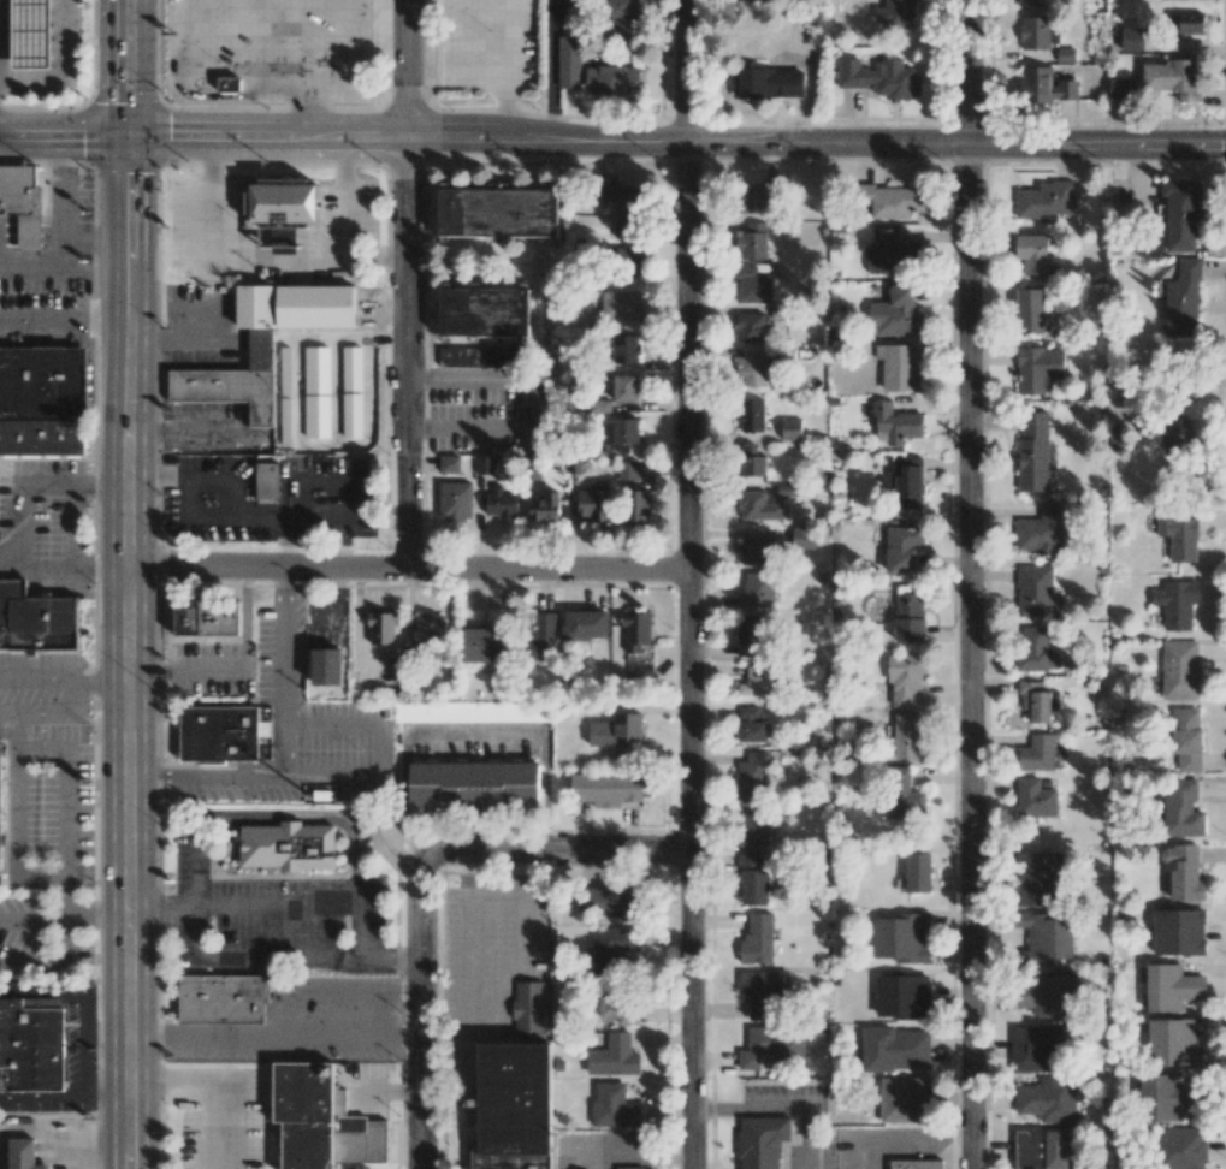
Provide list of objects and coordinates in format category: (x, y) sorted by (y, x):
building: (752, 1)
building: (1031, 4)
building: (896, 13)
building: (622, 14)
building: (1185, 22)
road: (189, 29)
building: (1035, 31)
building: (25, 36)
road: (244, 36)
road: (292, 37)
building: (1132, 38)
parking lot: (488, 44)
building: (1065, 54)
road: (342, 60)
building: (569, 63)
road: (61, 69)
road: (239, 71)
building: (879, 77)
building: (1169, 78)
building: (612, 79)
road: (486, 81)
building: (229, 83)
building: (764, 84)
building: (1044, 85)
building: (1121, 89)
road: (223, 96)
road: (306, 107)
road: (509, 112)
traffic signals: (126, 143)
road: (270, 143)
road: (882, 144)
building: (756, 197)
building: (1046, 200)
road: (347, 201)
building: (888, 201)
building: (288, 202)
building: (22, 206)
road: (63, 206)
building: (622, 207)
building: (498, 212)
building: (1180, 214)
building: (752, 242)
building: (1032, 253)
building: (894, 254)
road: (248, 259)
building: (626, 259)
road: (63, 269)
building: (752, 283)
road: (403, 285)
building: (1183, 301)
building: (620, 304)
building: (1030, 310)
building: (484, 313)
building: (895, 314)
building: (591, 320)
road: (64, 321)
building: (751, 327)
road: (385, 338)
building: (623, 348)
building: (479, 356)
building: (899, 367)
building: (351, 368)
building: (1038, 368)
building: (316, 369)
building: (751, 370)
building: (43, 382)
building: (626, 387)
building: (226, 388)
road: (337, 391)
road: (538, 402)
building: (600, 407)
parking lot: (485, 409)
building: (351, 415)
building: (751, 415)
building: (316, 416)
building: (895, 423)
building: (790, 428)
building: (622, 435)
building: (41, 438)
building: (1118, 438)
building: (1177, 438)
road: (298, 443)
building: (1032, 451)
building: (751, 462)
building: (450, 464)
building: (485, 464)
building: (627, 470)
building: (266, 480)
building: (907, 482)
road: (100, 483)
building: (455, 500)
building: (593, 502)
building: (502, 503)
building: (636, 505)
building: (544, 506)
building: (758, 506)
road: (254, 520)
road: (72, 524)
road: (19, 526)
building: (1042, 532)
building: (1178, 535)
building: (802, 538)
building: (902, 548)
building: (756, 551)
road: (10, 565)
road: (101, 566)
road: (408, 570)
road: (283, 582)
road: (129, 583)
road: (970, 583)
road: (688, 584)
building: (757, 589)
building: (1036, 592)
road: (340, 593)
building: (1177, 604)
road: (325, 617)
building: (908, 617)
building: (207, 618)
road: (244, 618)
building: (39, 621)
building: (585, 624)
road: (359, 625)
building: (381, 628)
building: (427, 628)
building: (636, 630)
building: (748, 635)
building: (541, 636)
building: (482, 645)
building: (1035, 649)
building: (59, 661)
building: (328, 667)
building: (639, 669)
building: (1179, 669)
road: (186, 670)
building: (904, 678)
road: (32, 681)
building: (758, 681)
road: (81, 682)
building: (1037, 701)
building: (472, 711)
road: (28, 713)
building: (751, 725)
building: (615, 730)
building: (219, 732)
road: (473, 735)
building: (907, 737)
building: (1186, 740)
road: (285, 741)
road: (379, 750)
building: (1036, 753)
road: (152, 776)
building: (751, 777)
road: (65, 785)
building: (606, 788)
building: (469, 793)
road: (546, 793)
building: (904, 796)
building: (1035, 799)
building: (1181, 809)
road: (308, 817)
building: (2, 818)
building: (754, 829)
road: (13, 836)
building: (282, 847)
road: (557, 849)
road: (197, 871)
building: (918, 872)
building: (1181, 872)
building: (1037, 878)
building: (753, 879)
building: (609, 898)
road: (306, 906)
road: (164, 907)
road: (97, 908)
road: (32, 920)
building: (1178, 932)
road: (66, 936)
building: (902, 937)
building: (1044, 938)
building: (757, 939)
building: (612, 947)
road: (253, 959)
road: (390, 960)
road: (32, 963)
building: (1171, 987)
building: (763, 990)
road: (65, 991)
building: (902, 995)
building: (1044, 995)
building: (223, 996)
building: (618, 1004)
road: (421, 1008)
building: (528, 1013)
building: (1174, 1042)
road: (87, 1044)
building: (772, 1045)
building: (32, 1046)
building: (894, 1048)
building: (1036, 1049)
building: (614, 1056)
road: (108, 1097)
building: (1166, 1097)
road: (43, 1098)
building: (904, 1099)
building: (1048, 1099)
building: (612, 1105)
building: (517, 1108)
building: (325, 1122)
building: (762, 1141)
building: (1040, 1147)
building: (1183, 1149)
building: (23, 1153)
building: (916, 1164)
building: (629, 1168)

